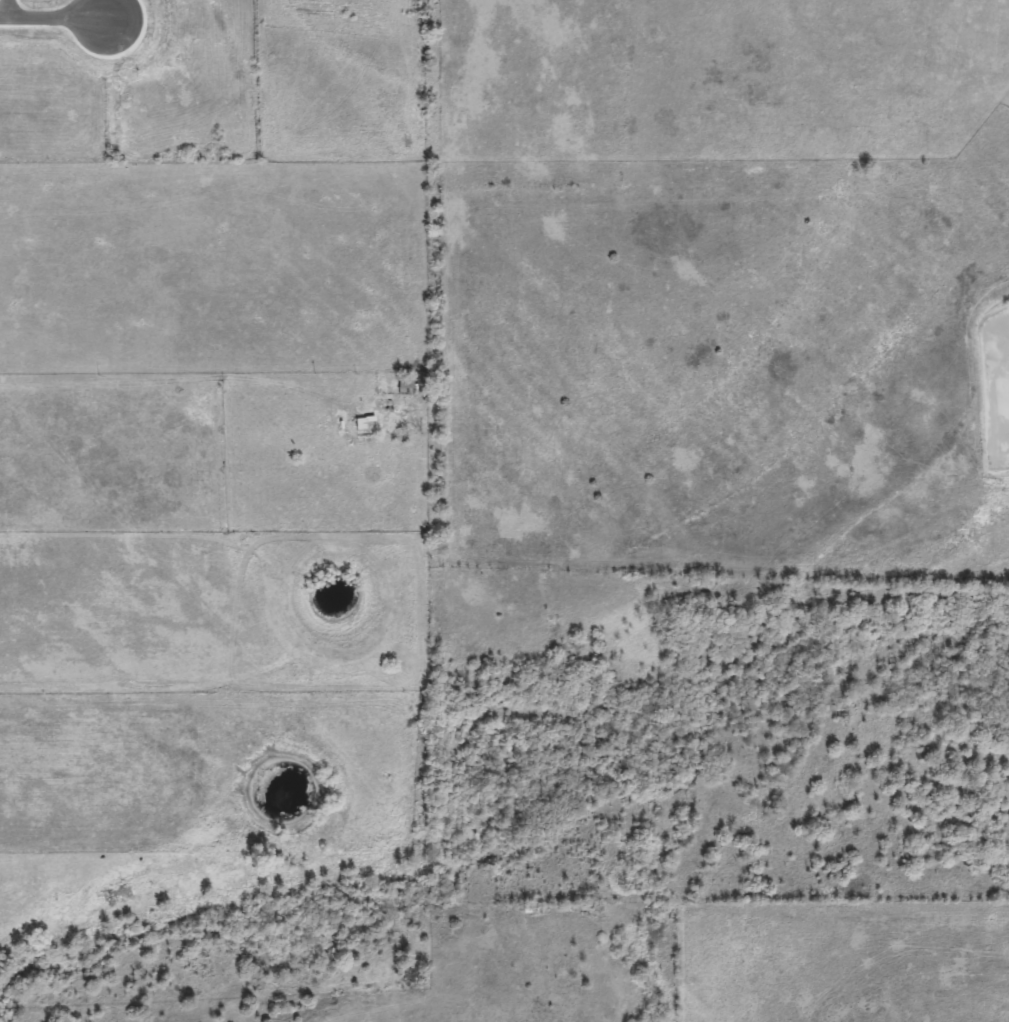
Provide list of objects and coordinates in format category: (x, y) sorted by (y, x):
road: (6, 10)
road: (53, 17)
building: (404, 382)
building: (363, 430)

